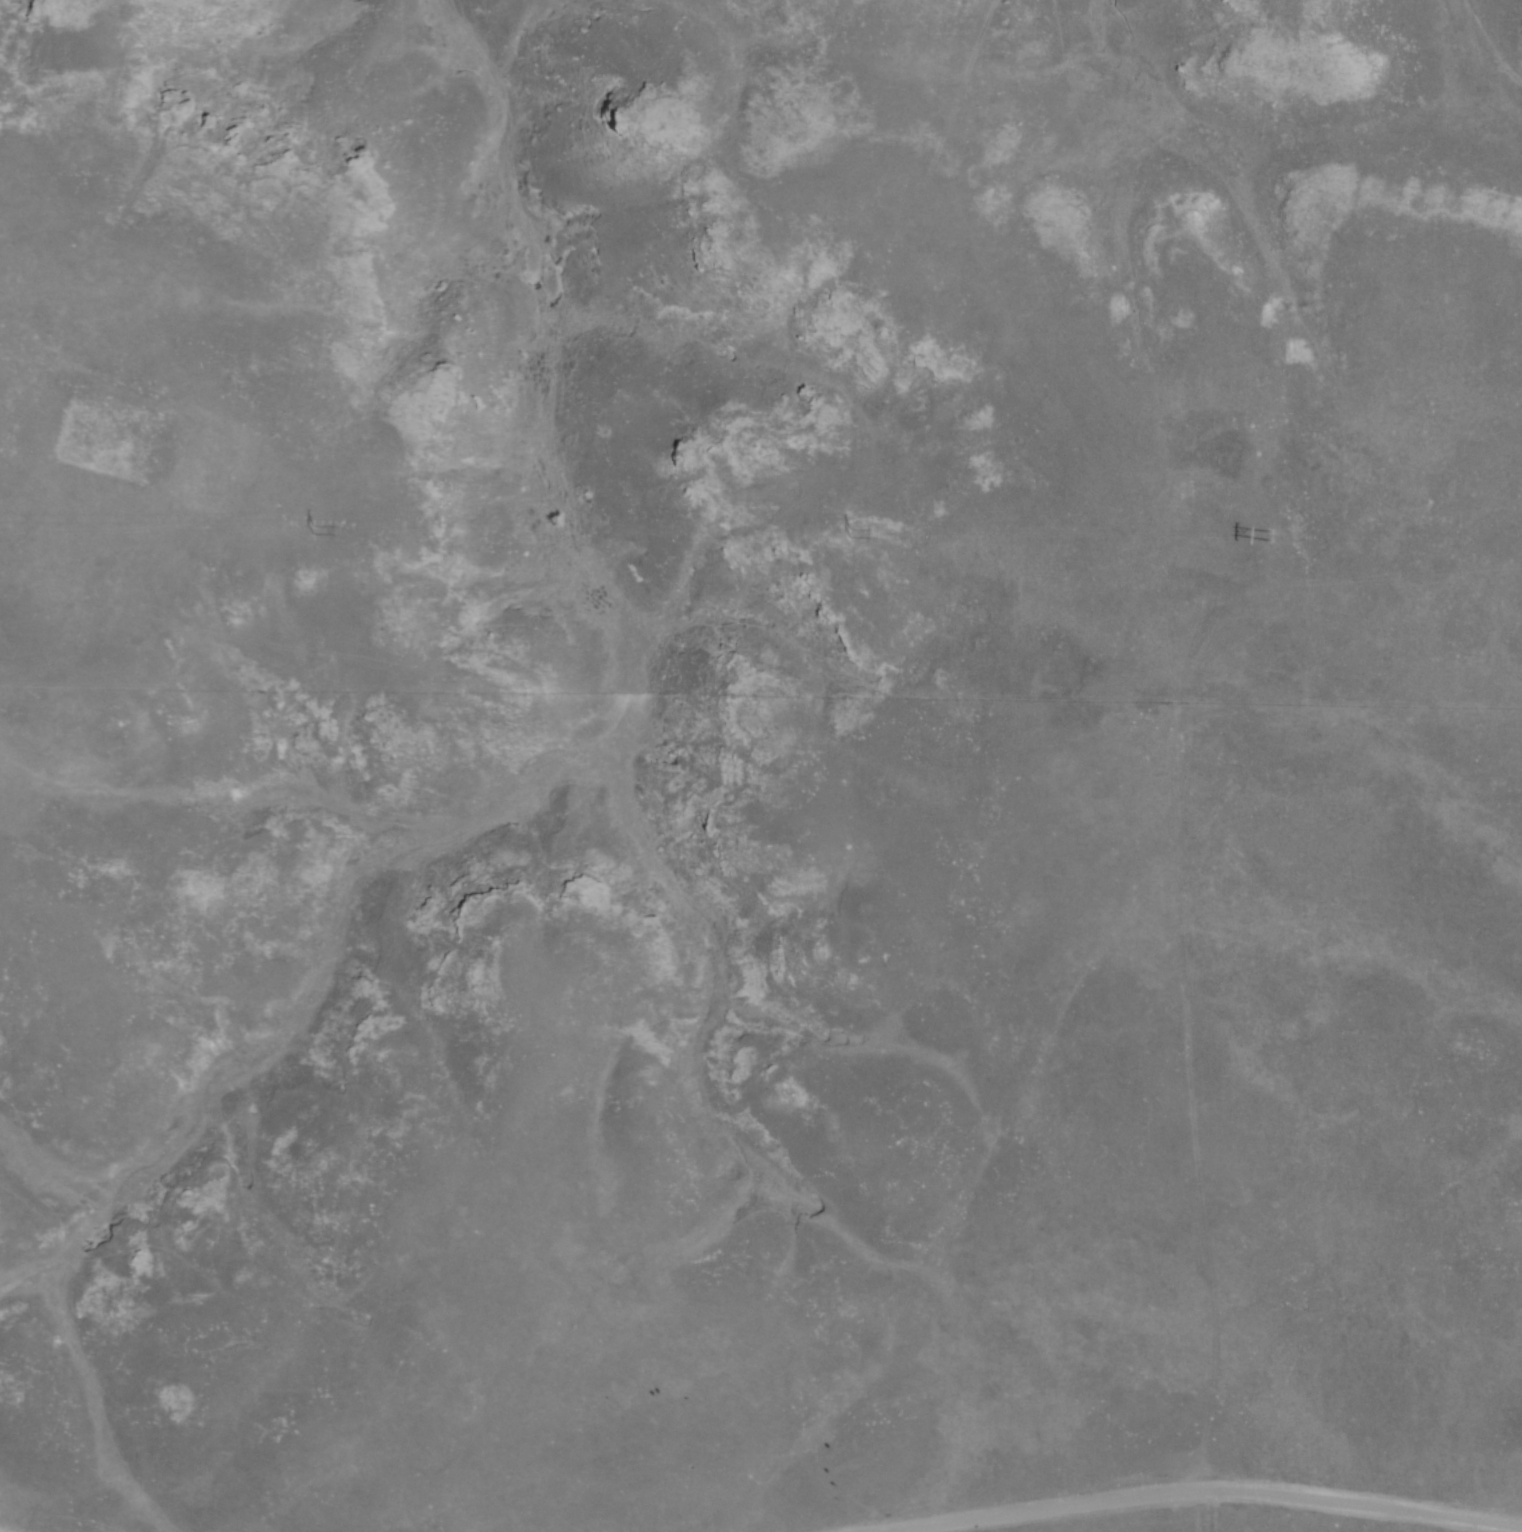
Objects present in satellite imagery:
power tower: (313, 528)
power tower: (847, 532)
power tower: (1271, 535)
road: (1220, 1494)

